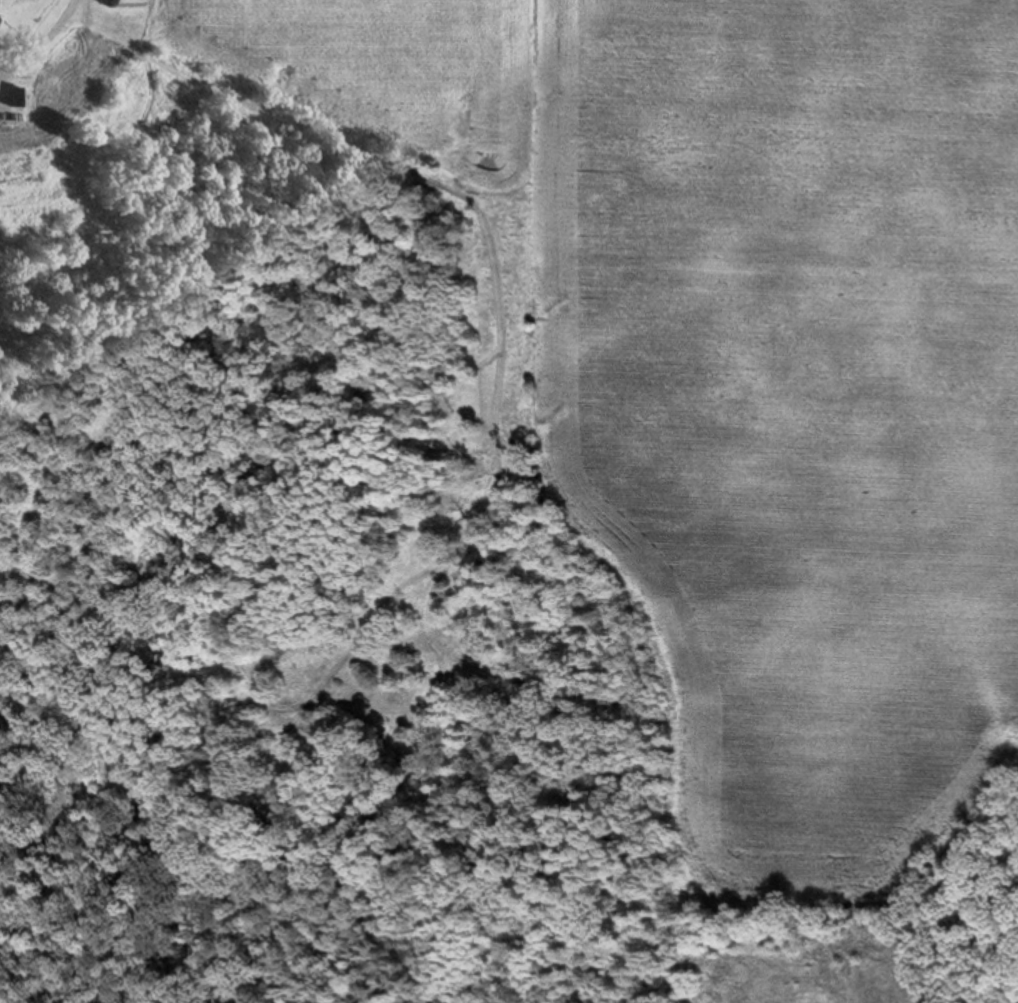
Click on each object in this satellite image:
building: (128, 4)
road: (47, 44)
building: (23, 98)

